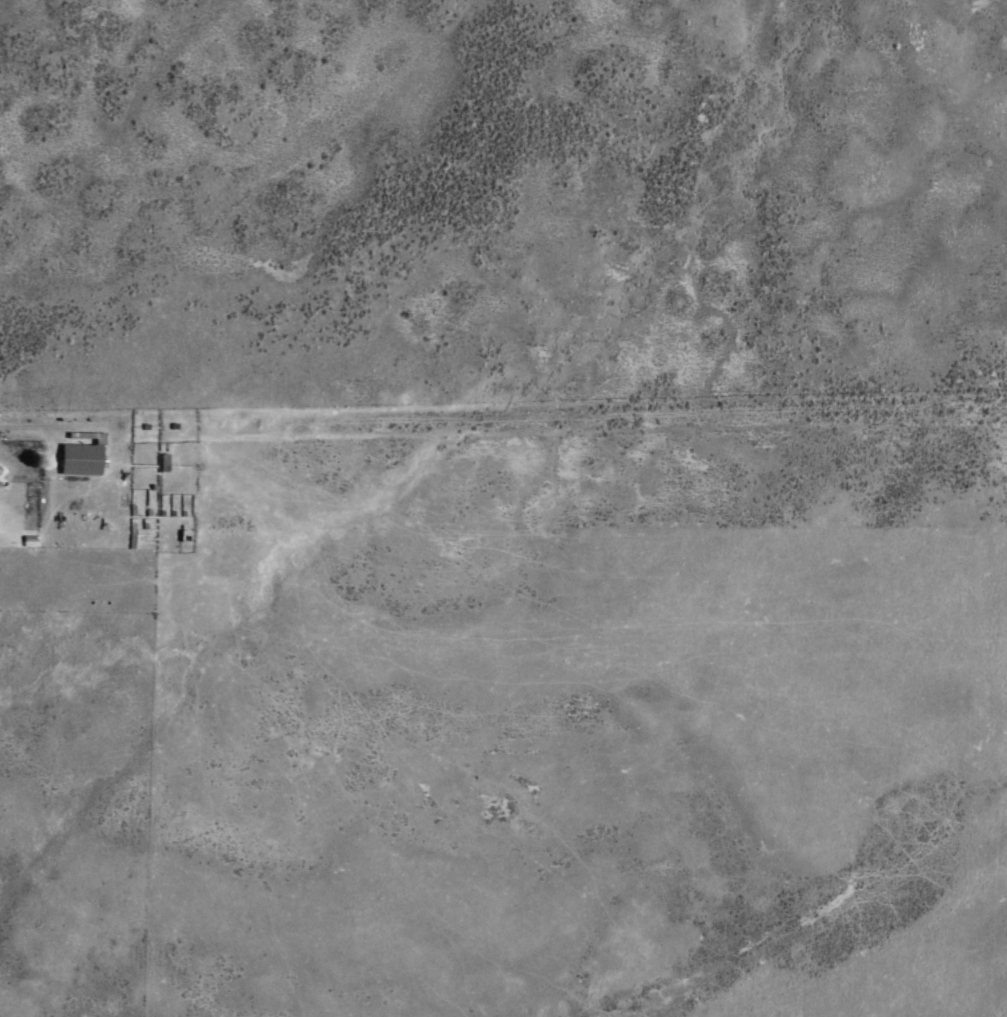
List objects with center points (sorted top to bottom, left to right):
road: (503, 393)
building: (81, 458)
crop: (503, 508)

